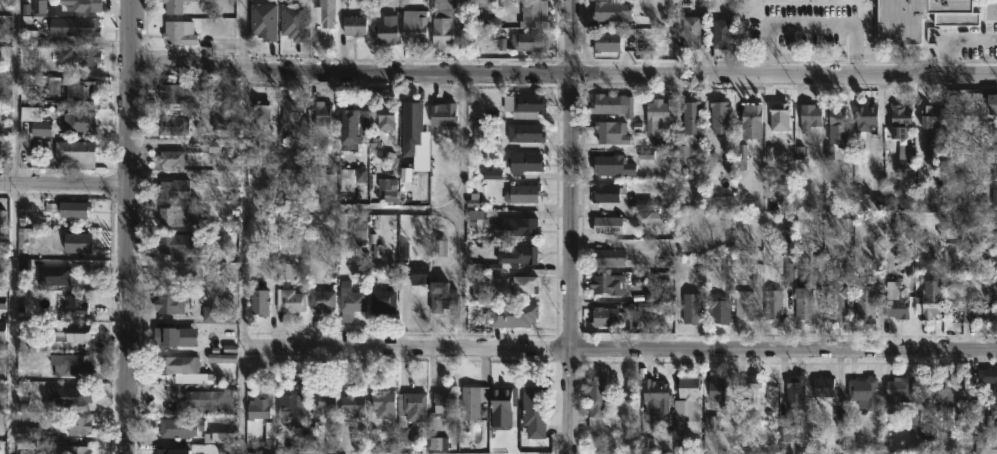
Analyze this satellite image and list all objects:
building: (81, 5)
building: (173, 6)
building: (532, 10)
building: (611, 10)
building: (322, 14)
building: (918, 18)
building: (264, 22)
building: (295, 22)
building: (353, 25)
building: (73, 26)
building: (413, 26)
building: (441, 28)
building: (384, 30)
building: (720, 30)
building: (690, 31)
building: (178, 32)
road: (463, 37)
building: (527, 41)
building: (606, 41)
road: (957, 42)
building: (79, 55)
road: (563, 74)
building: (80, 91)
building: (170, 93)
building: (1, 99)
building: (528, 103)
building: (611, 105)
building: (982, 108)
building: (671, 109)
building: (320, 112)
building: (259, 113)
building: (442, 114)
building: (657, 114)
building: (383, 115)
building: (719, 116)
building: (837, 116)
building: (866, 116)
building: (779, 117)
building: (809, 117)
building: (289, 118)
building: (80, 121)
building: (900, 121)
building: (409, 122)
building: (749, 122)
building: (930, 123)
building: (172, 125)
building: (219, 126)
building: (351, 127)
building: (41, 128)
building: (525, 132)
building: (610, 132)
building: (994, 133)
building: (688, 135)
building: (0, 145)
building: (75, 153)
building: (742, 153)
building: (645, 155)
building: (905, 155)
building: (171, 158)
building: (996, 161)
building: (523, 162)
building: (612, 165)
building: (995, 175)
building: (227, 181)
road: (63, 186)
building: (174, 188)
building: (606, 192)
building: (522, 193)
building: (926, 196)
building: (994, 198)
building: (643, 204)
building: (67, 208)
road: (354, 212)
road: (462, 212)
building: (177, 217)
building: (647, 217)
building: (994, 224)
building: (607, 225)
road: (126, 226)
road: (245, 226)
building: (515, 226)
road: (567, 226)
road: (15, 227)
building: (785, 242)
building: (76, 243)
building: (165, 243)
building: (517, 254)
building: (996, 255)
building: (608, 257)
building: (925, 257)
building: (44, 271)
building: (608, 284)
building: (523, 285)
building: (992, 291)
building: (721, 295)
building: (839, 296)
building: (441, 297)
building: (866, 297)
building: (931, 299)
building: (349, 300)
building: (288, 301)
building: (382, 301)
building: (895, 301)
building: (321, 302)
building: (258, 303)
building: (804, 303)
building: (168, 304)
building: (74, 305)
building: (743, 305)
building: (773, 305)
building: (646, 307)
building: (692, 308)
building: (964, 312)
building: (212, 313)
building: (512, 314)
building: (989, 315)
building: (604, 317)
building: (67, 333)
building: (166, 336)
road: (619, 351)
building: (72, 367)
building: (179, 368)
building: (25, 371)
building: (986, 377)
building: (959, 382)
building: (823, 387)
building: (752, 388)
building: (936, 389)
building: (719, 391)
building: (862, 391)
building: (795, 392)
building: (898, 392)
building: (655, 394)
building: (70, 399)
building: (208, 401)
building: (325, 401)
building: (472, 401)
building: (596, 402)
building: (685, 402)
building: (381, 404)
building: (443, 404)
building: (502, 405)
building: (259, 406)
building: (292, 408)
building: (350, 408)
building: (533, 412)
building: (409, 413)
building: (948, 418)
building: (992, 418)
building: (710, 421)
building: (911, 423)
building: (650, 424)
building: (73, 425)
building: (181, 427)
building: (786, 430)
building: (27, 433)
building: (985, 447)
building: (216, 449)
building: (76, 450)
building: (172, 451)
building: (30, 453)

